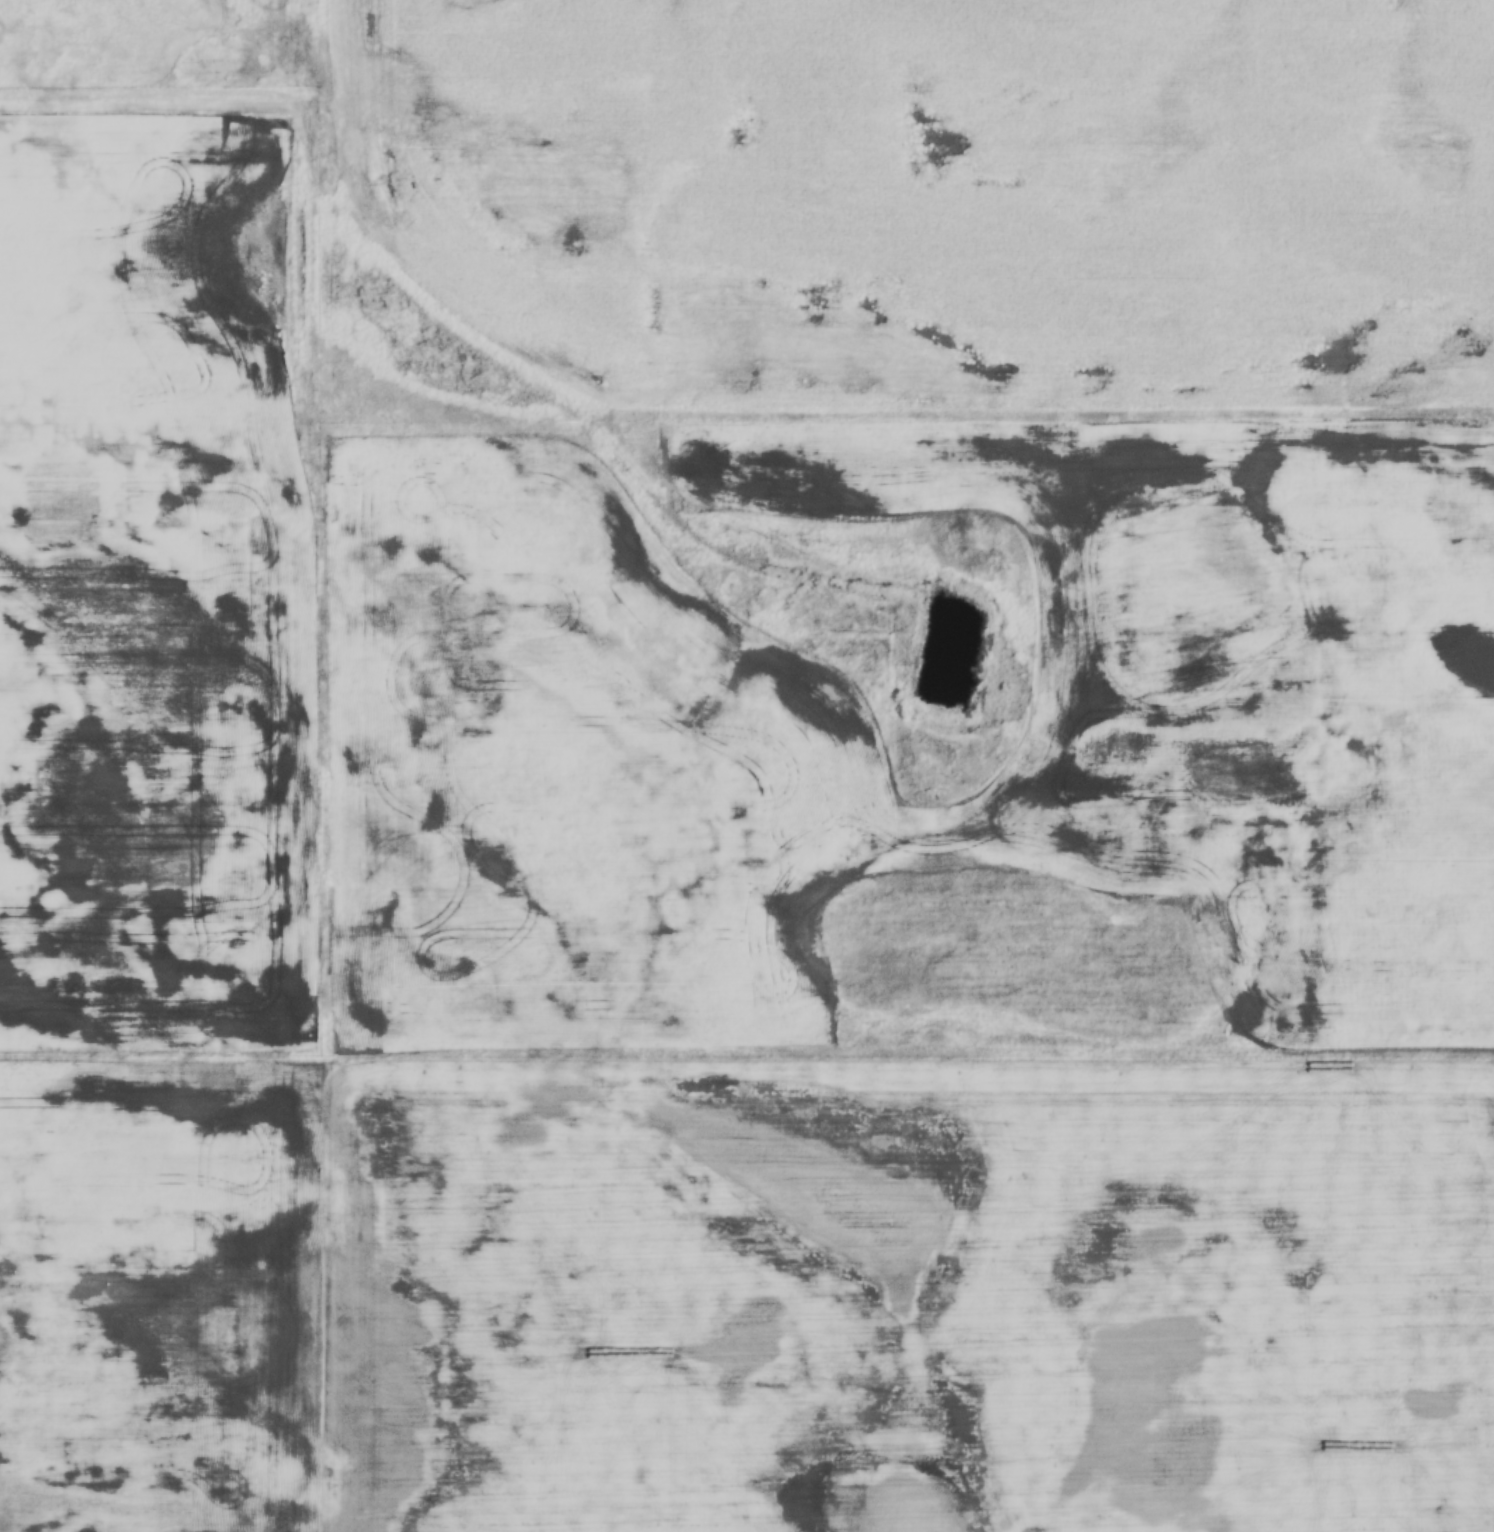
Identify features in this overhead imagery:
road: (310, 138)

